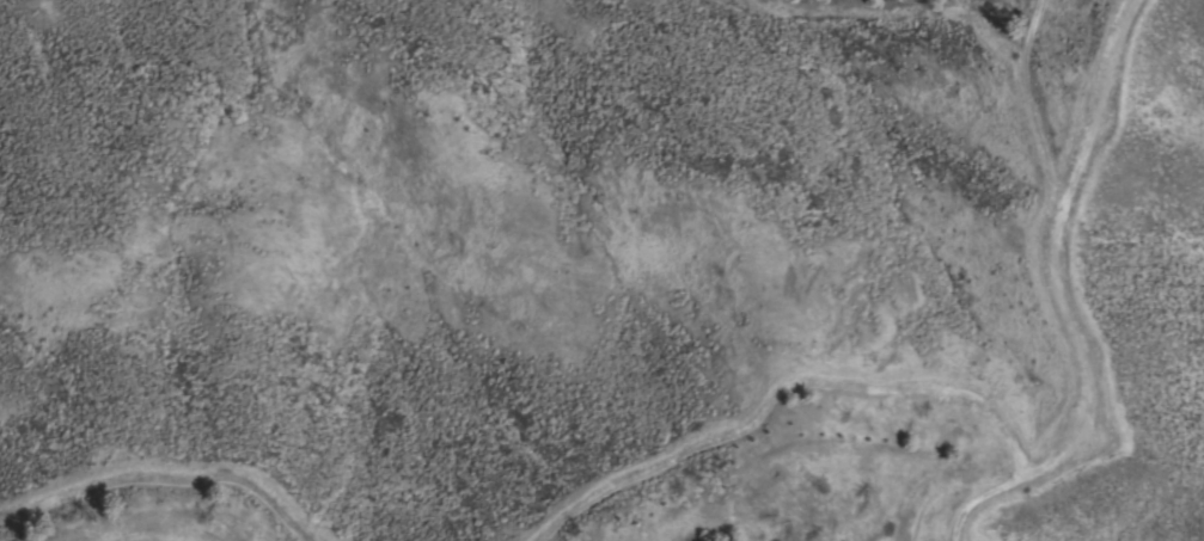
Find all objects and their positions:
road: (1076, 309)
park: (693, 351)

